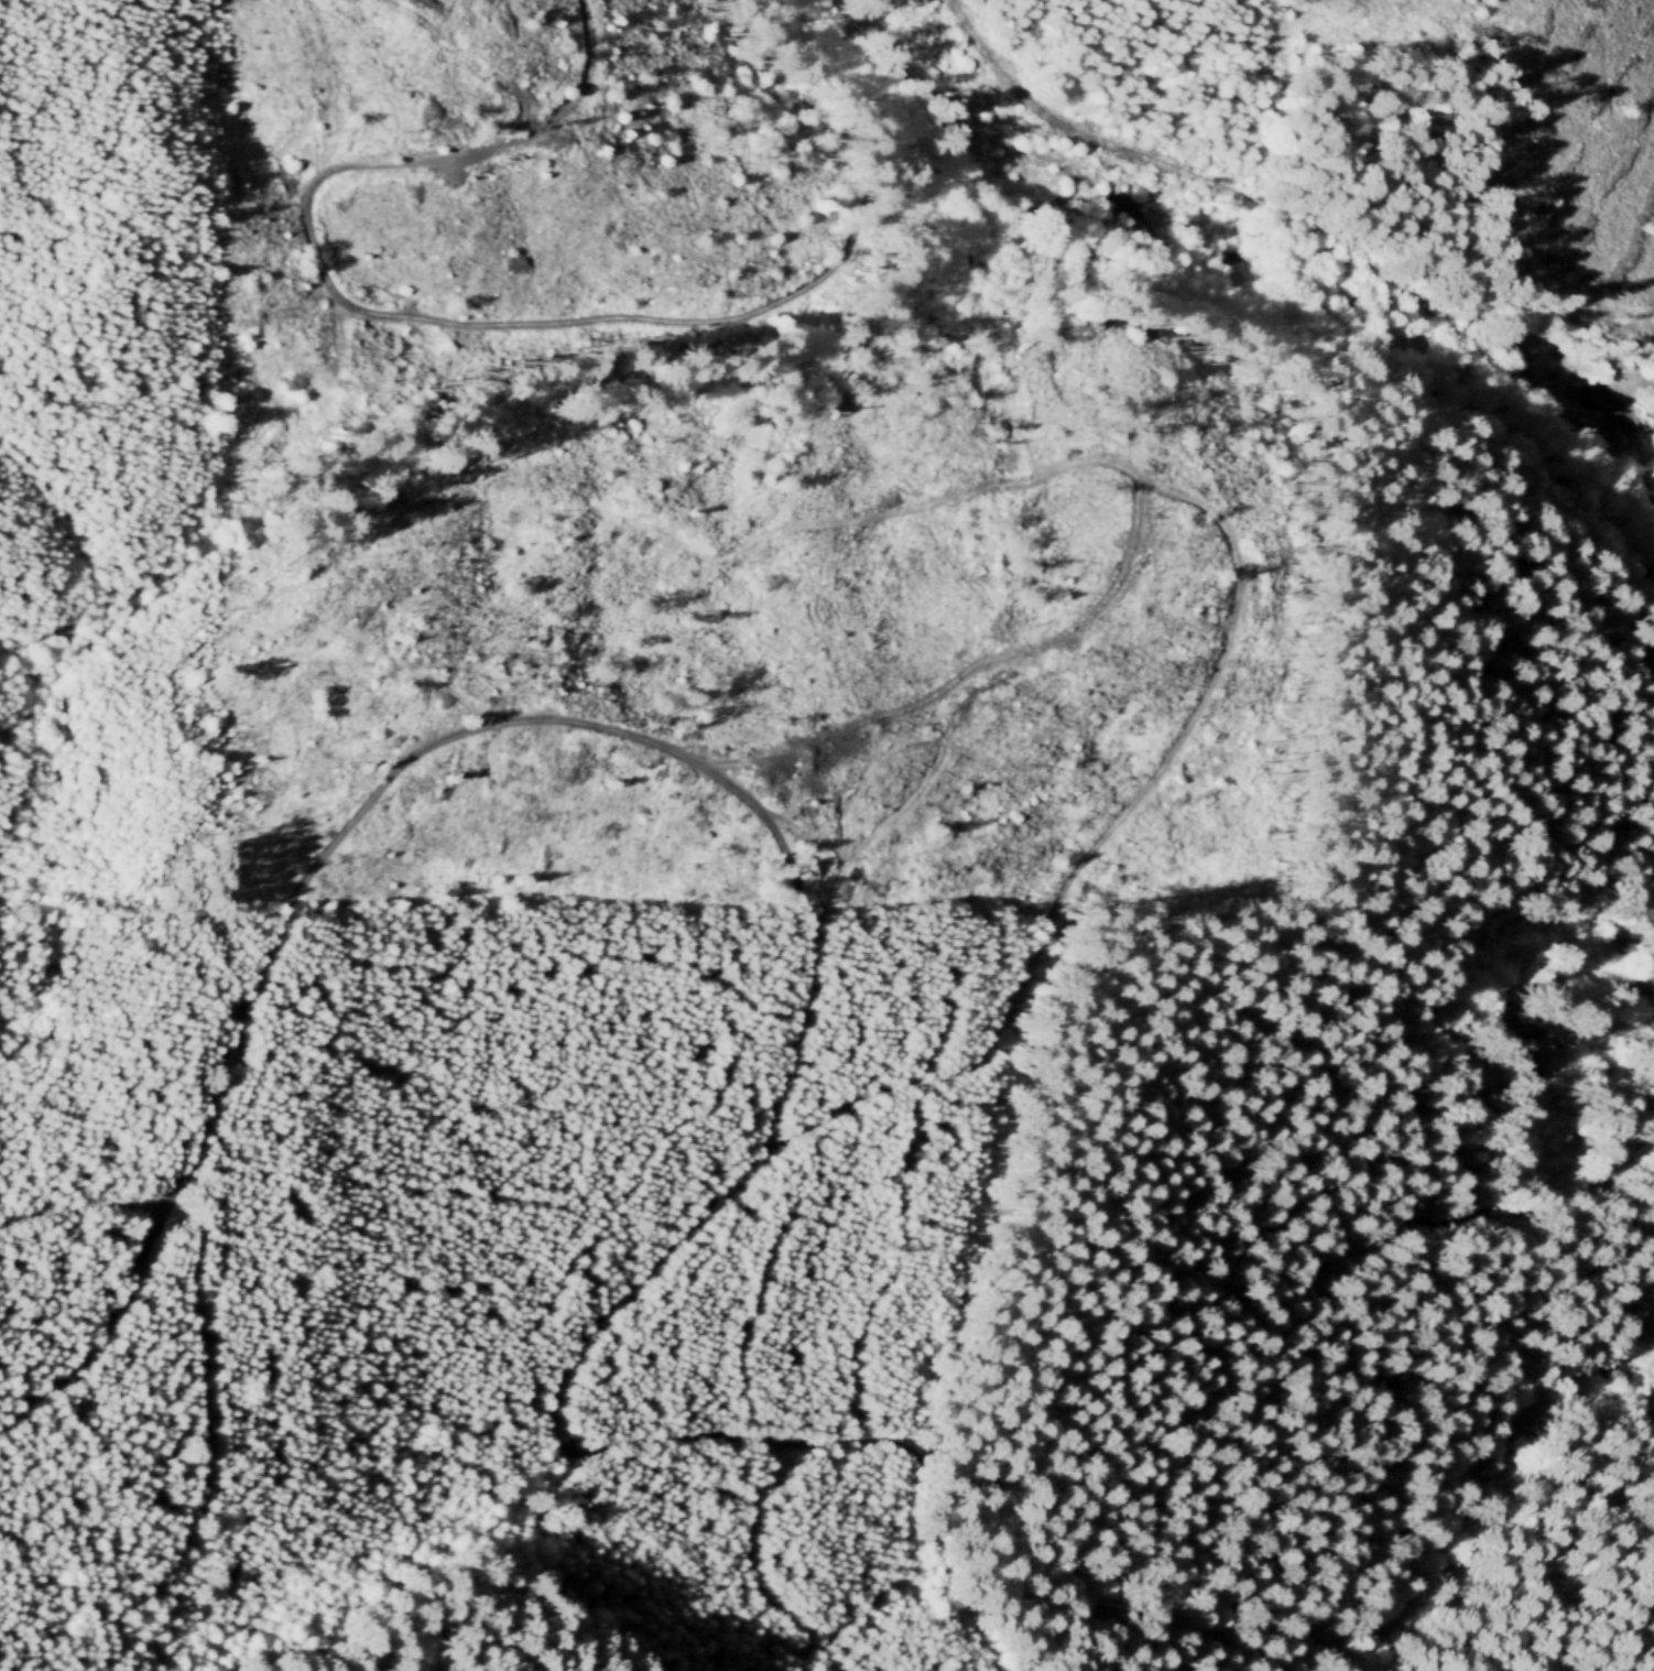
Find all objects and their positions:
road: (1158, 159)
road: (1318, 246)
road: (443, 321)
road: (1112, 465)
road: (914, 788)
road: (841, 854)
road: (1096, 856)
building: (1521, 1032)
road: (1500, 1133)
road: (760, 1160)
road: (86, 1205)
road: (202, 1332)
road: (561, 1479)
road: (751, 1562)

